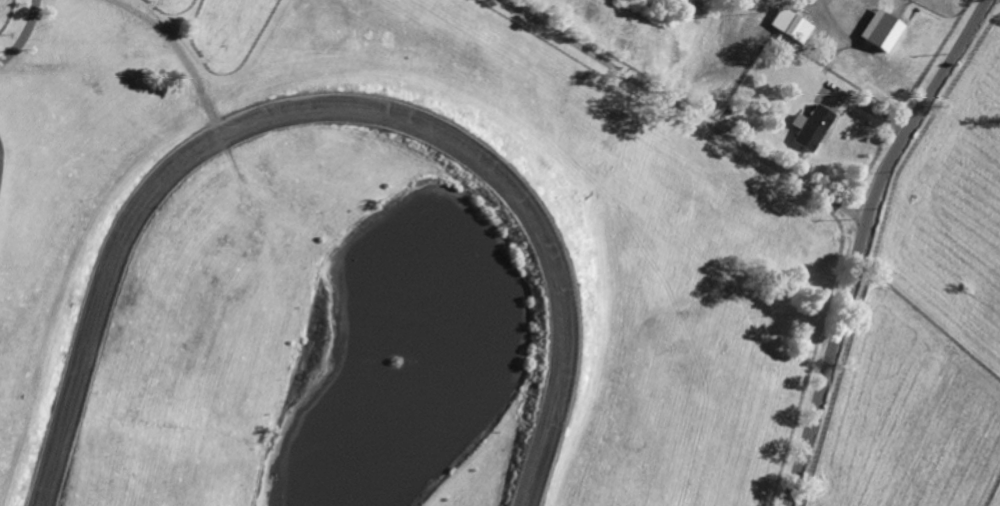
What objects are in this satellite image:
building: (793, 24)
building: (879, 29)
road: (24, 33)
building: (850, 62)
road: (648, 89)
building: (782, 103)
building: (812, 125)
road: (831, 199)
road: (861, 241)

